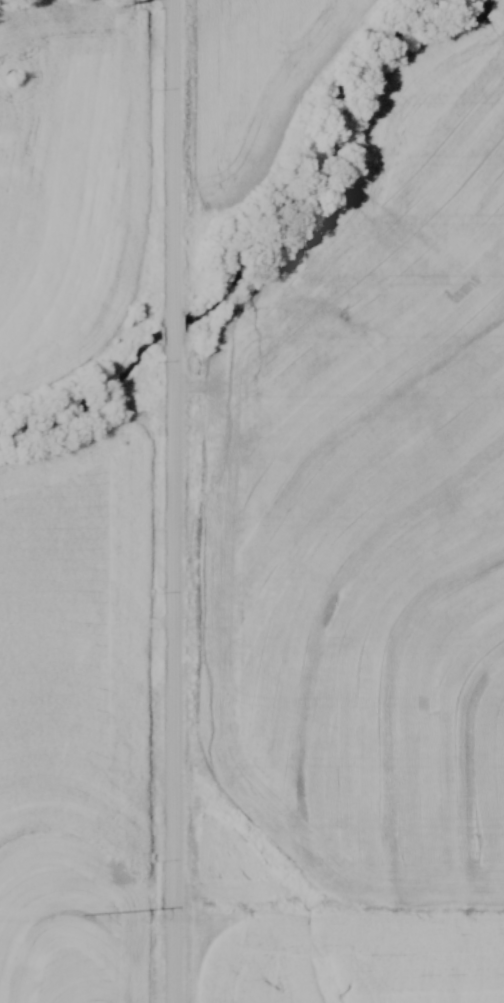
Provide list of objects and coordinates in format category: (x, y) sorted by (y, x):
road: (175, 501)
power tower: (84, 915)

